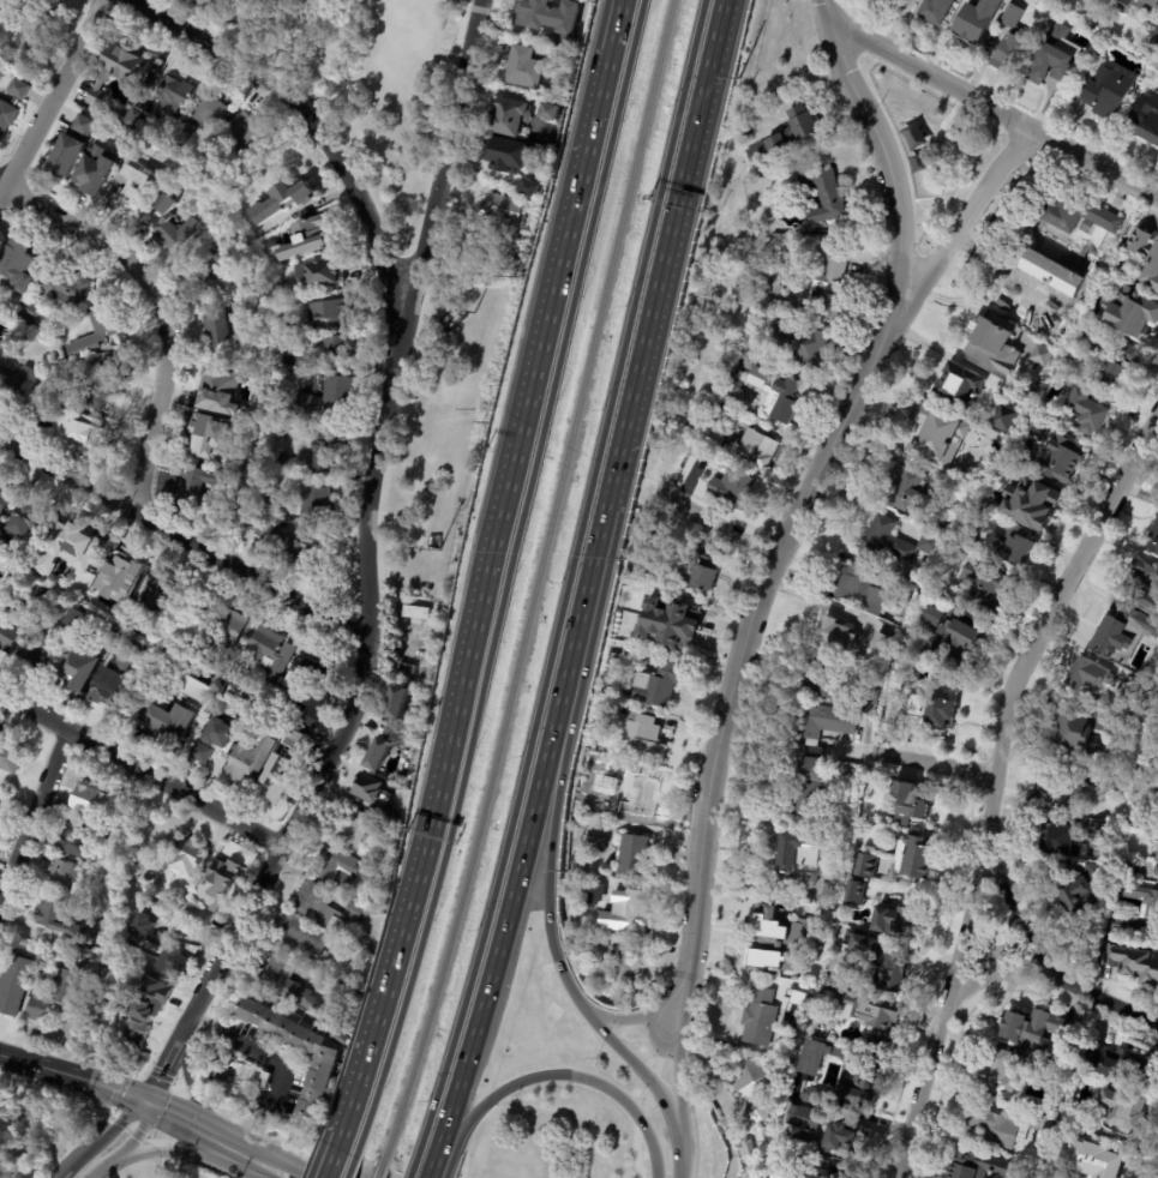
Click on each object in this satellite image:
building: (889, 0)
building: (2, 1)
building: (1134, 6)
building: (935, 10)
building: (976, 20)
building: (551, 22)
building: (37, 26)
building: (1057, 30)
building: (1008, 42)
building: (1152, 48)
building: (1050, 60)
building: (521, 68)
building: (118, 70)
park: (353, 82)
building: (20, 90)
building: (1103, 91)
road: (52, 94)
building: (176, 96)
road: (996, 109)
building: (139, 112)
building: (548, 113)
building: (212, 114)
building: (504, 118)
building: (7, 119)
building: (1146, 125)
road: (313, 130)
building: (744, 131)
building: (246, 133)
building: (784, 137)
road: (878, 142)
building: (72, 148)
building: (184, 148)
building: (504, 156)
building: (161, 164)
building: (98, 169)
building: (199, 170)
building: (176, 173)
building: (528, 188)
building: (126, 191)
building: (809, 192)
building: (823, 196)
building: (284, 199)
building: (494, 212)
road: (968, 214)
building: (1075, 215)
building: (173, 228)
road: (84, 235)
building: (307, 235)
building: (748, 246)
building: (1039, 251)
building: (1146, 258)
building: (18, 266)
building: (204, 269)
building: (320, 274)
building: (67, 286)
building: (827, 286)
building: (1068, 289)
building: (728, 296)
building: (1009, 297)
building: (776, 300)
building: (1061, 308)
building: (248, 309)
building: (31, 311)
building: (331, 313)
building: (1129, 314)
building: (108, 318)
building: (220, 332)
building: (977, 339)
road: (646, 341)
building: (1084, 342)
building: (18, 343)
building: (799, 344)
building: (340, 349)
building: (1032, 354)
building: (298, 357)
building: (1118, 368)
building: (18, 380)
building: (103, 384)
building: (734, 385)
building: (959, 385)
building: (217, 389)
building: (338, 390)
building: (773, 396)
road: (155, 403)
building: (311, 404)
building: (44, 408)
building: (1082, 413)
building: (716, 414)
building: (1002, 419)
building: (1033, 426)
building: (83, 432)
building: (282, 437)
building: (932, 437)
building: (214, 438)
building: (328, 451)
building: (755, 451)
building: (1060, 458)
building: (287, 459)
building: (697, 461)
building: (206, 485)
building: (731, 489)
building: (906, 491)
road: (102, 492)
building: (970, 499)
building: (317, 503)
building: (5, 505)
building: (1030, 505)
building: (32, 519)
building: (252, 521)
road: (719, 527)
building: (1153, 539)
building: (890, 543)
building: (1009, 546)
building: (6, 549)
building: (77, 551)
building: (288, 551)
road: (216, 558)
road: (486, 571)
road: (367, 572)
building: (701, 572)
road: (508, 576)
road: (568, 577)
building: (119, 578)
building: (1142, 584)
railway: (533, 585)
building: (858, 590)
building: (980, 591)
building: (164, 595)
building: (43, 599)
road: (296, 605)
building: (421, 613)
building: (934, 615)
building: (72, 618)
building: (227, 625)
building: (667, 625)
road: (750, 625)
building: (1115, 627)
building: (115, 629)
building: (12, 635)
building: (833, 636)
building: (960, 642)
building: (127, 643)
building: (878, 644)
building: (46, 648)
building: (268, 655)
building: (80, 668)
building: (410, 671)
building: (1088, 677)
building: (1150, 677)
building: (821, 678)
building: (114, 680)
building: (316, 680)
building: (654, 683)
building: (613, 685)
building: (1134, 690)
building: (205, 693)
building: (866, 696)
building: (1157, 702)
building: (914, 704)
building: (240, 705)
building: (401, 705)
building: (937, 714)
building: (316, 719)
road: (56, 720)
building: (173, 722)
building: (821, 722)
building: (218, 734)
building: (642, 734)
building: (1070, 735)
building: (414, 737)
building: (295, 743)
building: (211, 746)
building: (383, 753)
building: (838, 756)
building: (12, 757)
road: (120, 757)
building: (250, 758)
road: (932, 765)
building: (840, 768)
building: (282, 773)
building: (1154, 776)
road: (998, 782)
building: (806, 789)
building: (1067, 792)
building: (376, 794)
building: (638, 797)
road: (205, 803)
building: (907, 803)
building: (92, 806)
road: (35, 812)
building: (1133, 819)
building: (353, 824)
building: (110, 836)
building: (78, 842)
building: (1063, 842)
building: (589, 846)
road: (550, 849)
building: (784, 851)
building: (630, 855)
building: (187, 857)
building: (914, 857)
building: (1156, 859)
building: (572, 861)
building: (863, 865)
building: (340, 867)
building: (1128, 869)
building: (67, 877)
building: (222, 878)
building: (1081, 888)
building: (829, 891)
building: (852, 892)
building: (592, 894)
building: (328, 909)
building: (1151, 909)
building: (625, 912)
building: (200, 915)
building: (896, 919)
road: (506, 920)
building: (65, 921)
road: (1013, 922)
building: (143, 927)
building: (304, 934)
building: (768, 938)
building: (860, 940)
building: (582, 942)
building: (80, 952)
building: (1133, 962)
building: (175, 963)
building: (626, 966)
road: (1002, 968)
building: (890, 970)
building: (16, 986)
building: (289, 986)
building: (1157, 990)
road: (665, 998)
building: (150, 999)
building: (55, 1000)
road: (1105, 1000)
building: (863, 1006)
road: (683, 1015)
building: (758, 1017)
road: (614, 1020)
building: (1026, 1028)
building: (137, 1036)
building: (340, 1036)
road: (250, 1042)
road: (652, 1044)
building: (326, 1058)
building: (1116, 1064)
building: (998, 1070)
road: (638, 1071)
building: (862, 1075)
building: (259, 1076)
road: (560, 1076)
road: (73, 1077)
road: (188, 1088)
building: (756, 1089)
road: (678, 1095)
traffic signals: (145, 1105)
building: (4, 1110)
building: (1123, 1111)
road: (100, 1112)
road: (641, 1113)
building: (805, 1117)
building: (1070, 1123)
road: (118, 1124)
building: (1003, 1128)
road: (198, 1131)
building: (772, 1131)
building: (844, 1138)
road: (133, 1140)
building: (746, 1148)
road: (179, 1153)
road: (332, 1158)
road: (72, 1160)
road: (680, 1160)
road: (352, 1164)
road: (413, 1164)
building: (1103, 1165)
road: (432, 1166)
building: (977, 1166)
building: (827, 1167)
road: (269, 1168)
road: (101, 1172)
railway: (377, 1173)

